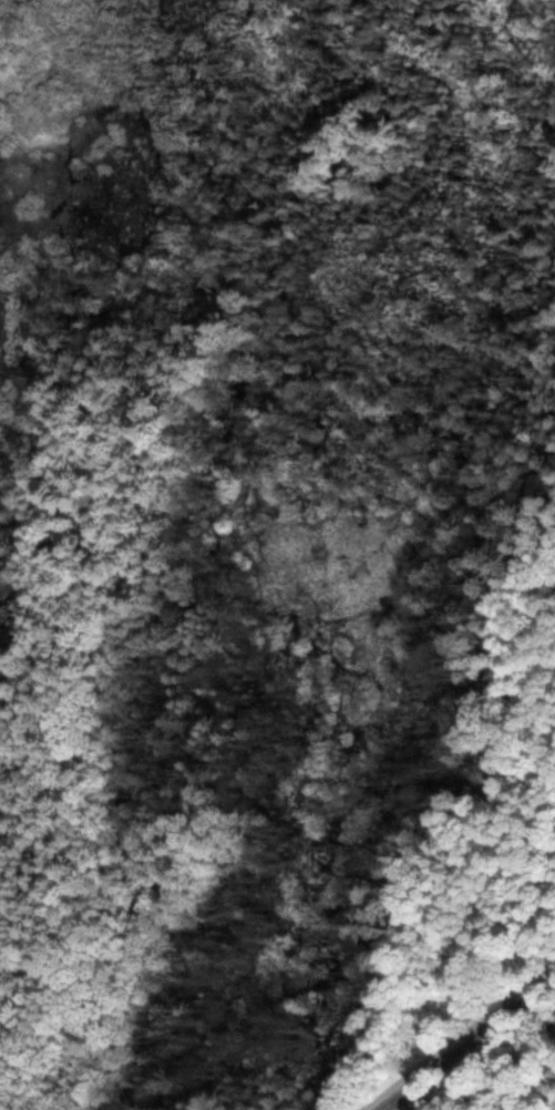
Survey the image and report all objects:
road: (465, 1042)

